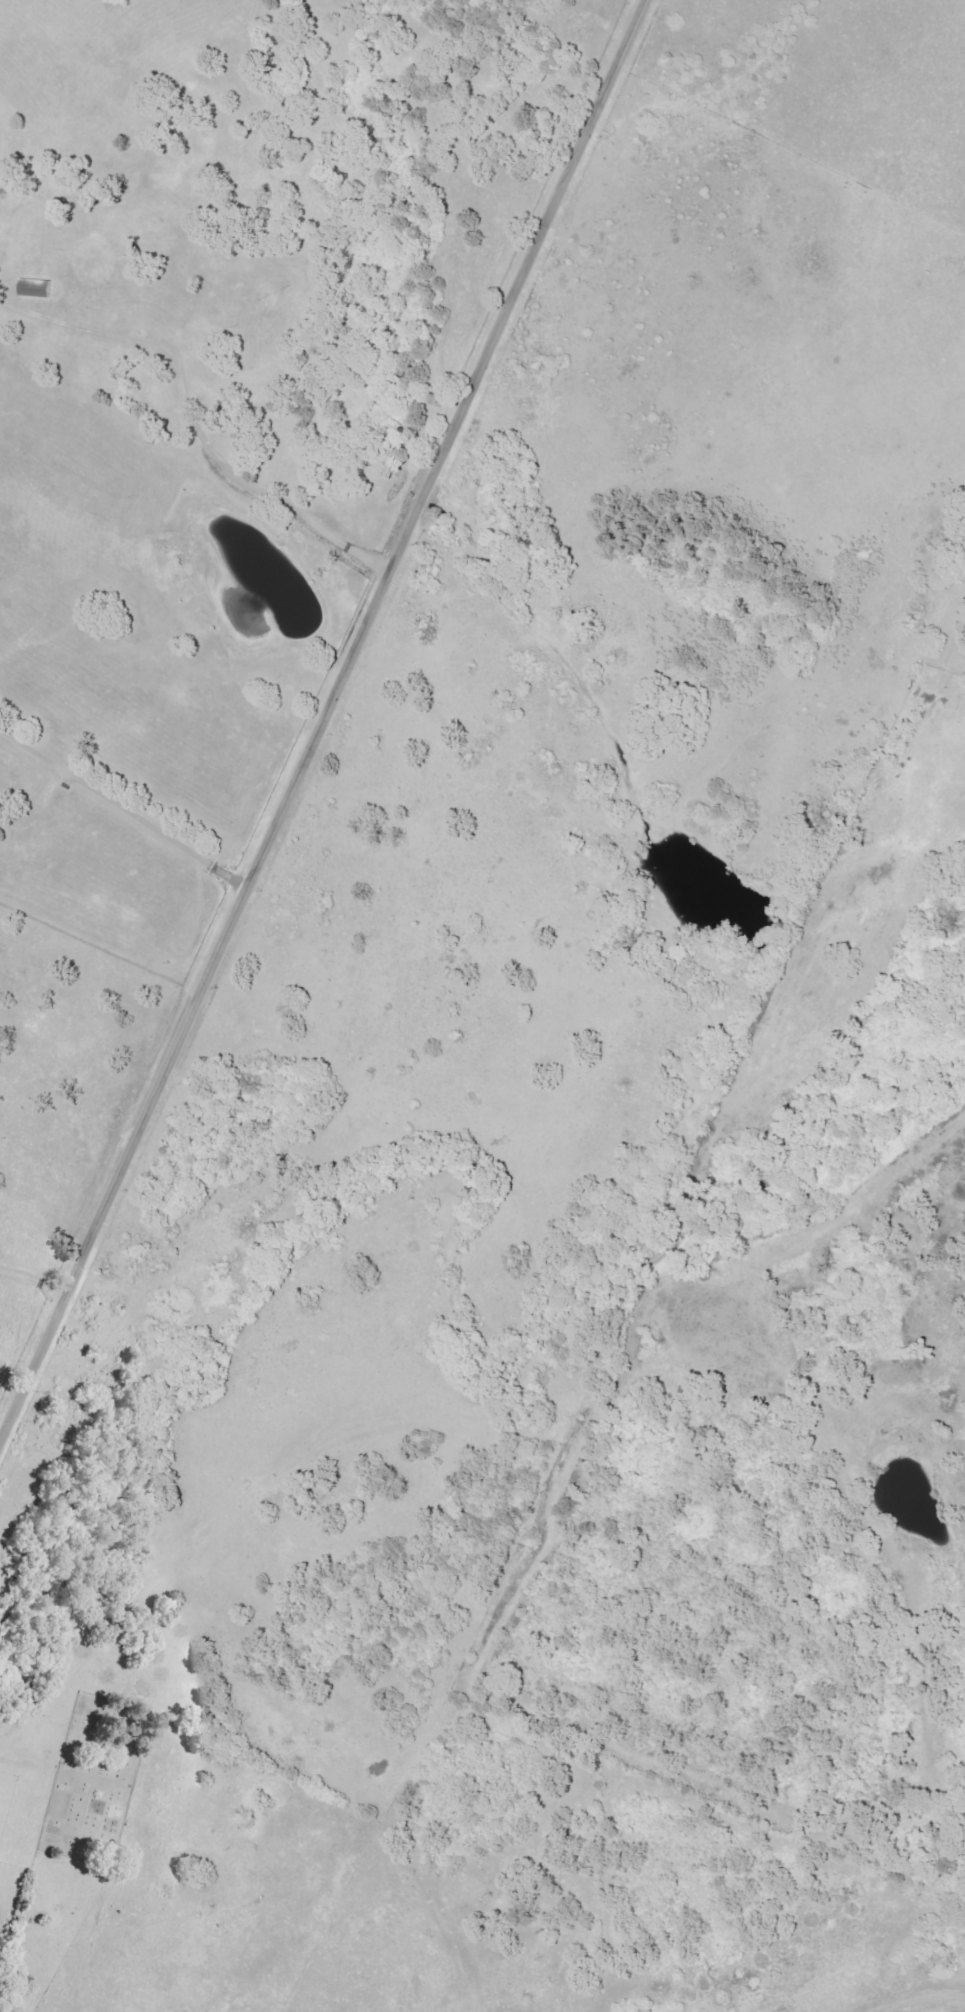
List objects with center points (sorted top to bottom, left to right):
road: (194, 422)
road: (321, 718)
road: (121, 816)
road: (42, 1235)
park: (90, 1781)

